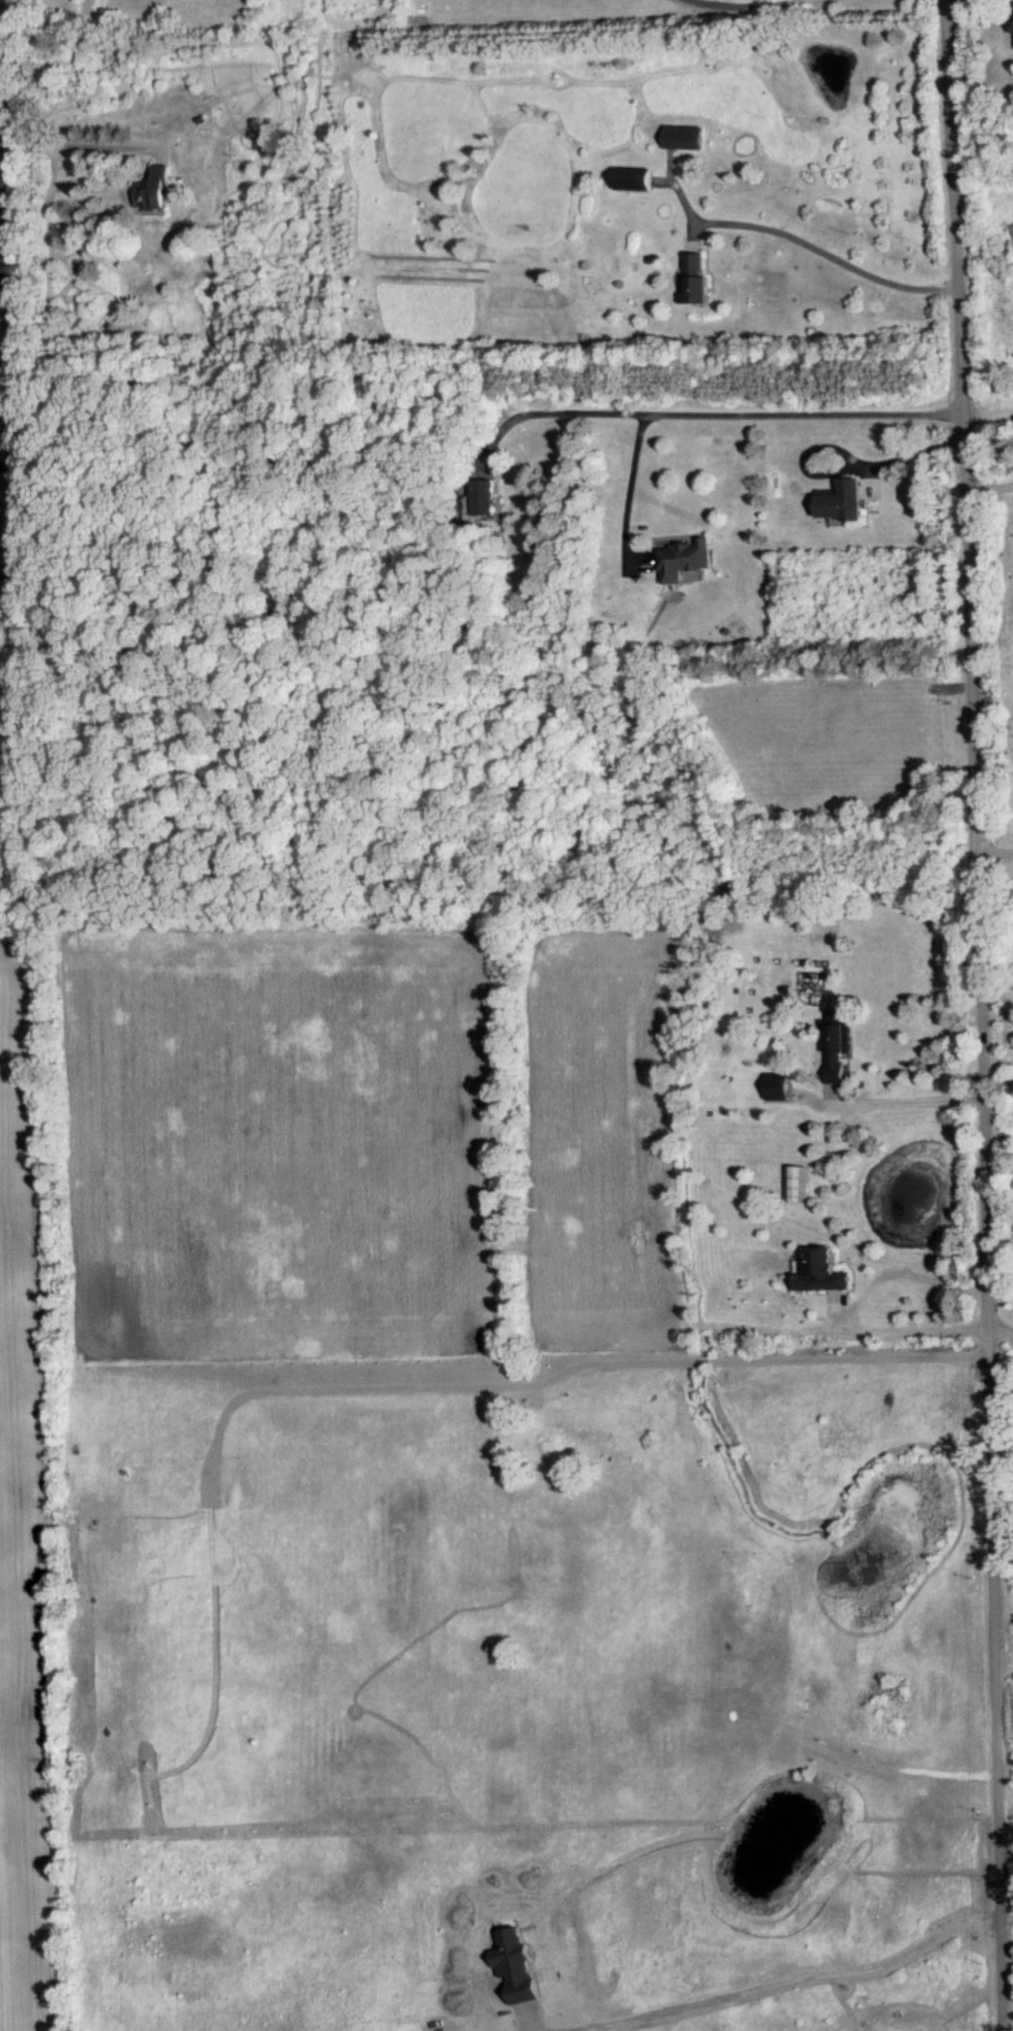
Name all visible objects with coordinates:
road: (741, 7)
building: (680, 139)
road: (83, 143)
building: (630, 180)
building: (151, 194)
road: (828, 253)
building: (691, 274)
road: (4, 276)
road: (9, 288)
road: (700, 413)
road: (987, 415)
road: (6, 461)
road: (848, 463)
building: (481, 495)
road: (625, 495)
building: (841, 499)
building: (680, 557)
road: (993, 847)
road: (979, 1015)
building: (833, 1051)
road: (997, 1061)
building: (775, 1089)
road: (904, 1101)
building: (794, 1184)
building: (816, 1272)
road: (913, 1327)
road: (999, 1332)
road: (1003, 1663)
road: (1005, 1797)
road: (1007, 1917)
road: (795, 1977)
road: (526, 2021)

